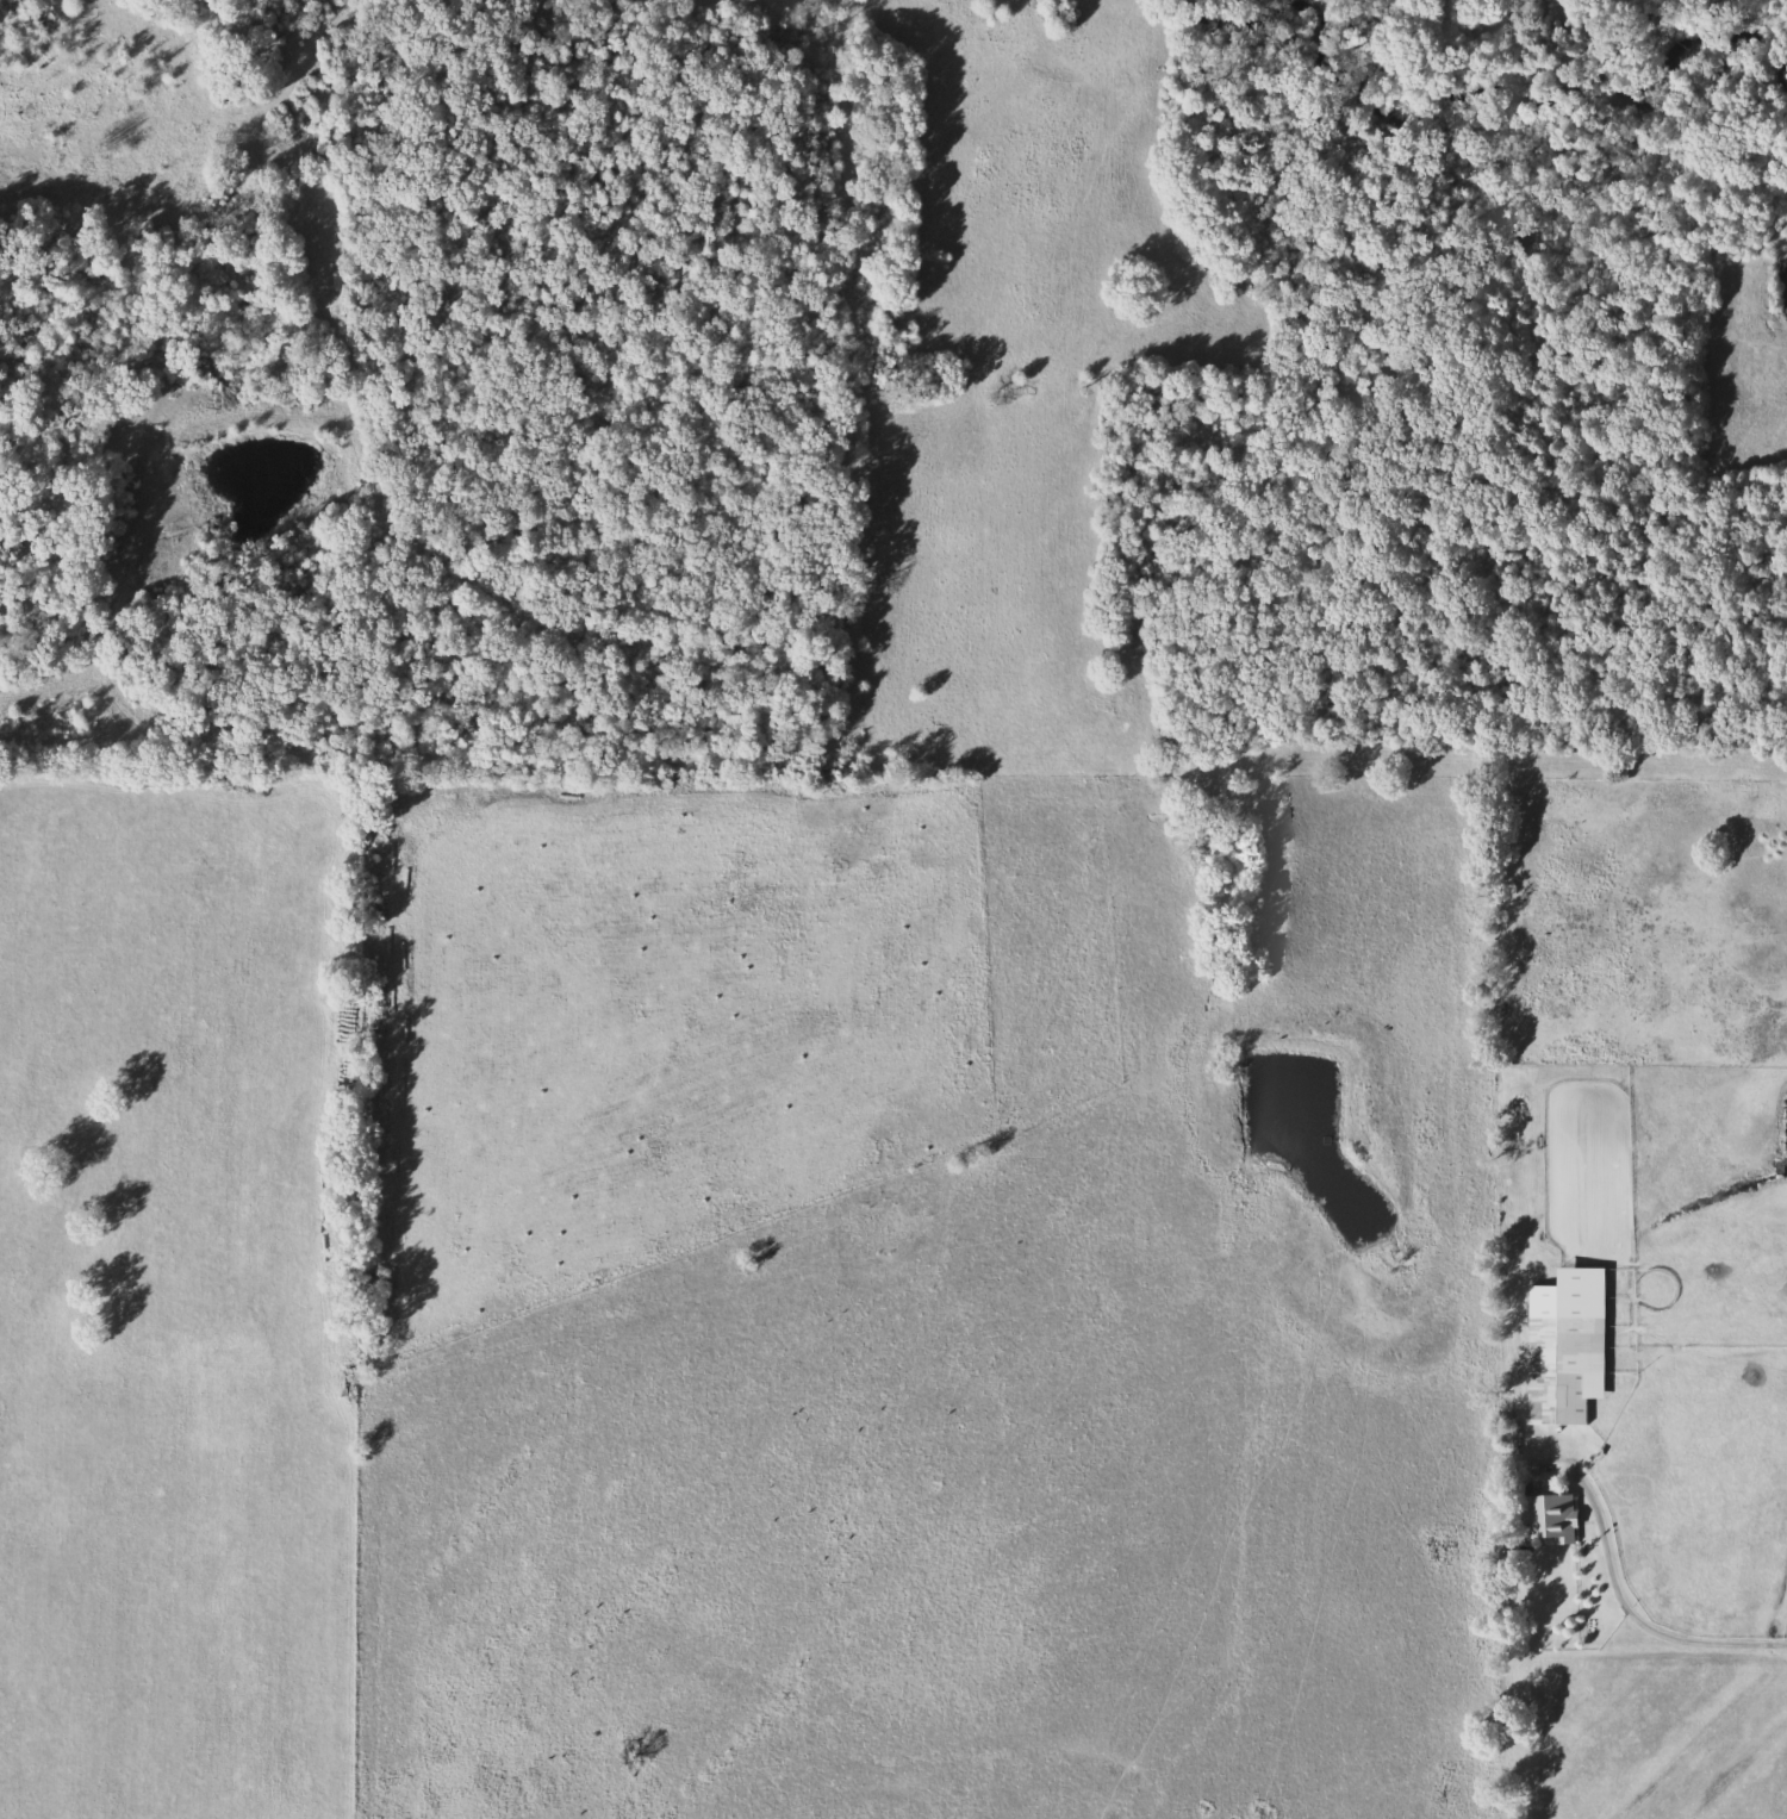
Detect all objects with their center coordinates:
building: (1557, 1366)
building: (1545, 1516)
road: (1639, 1606)

